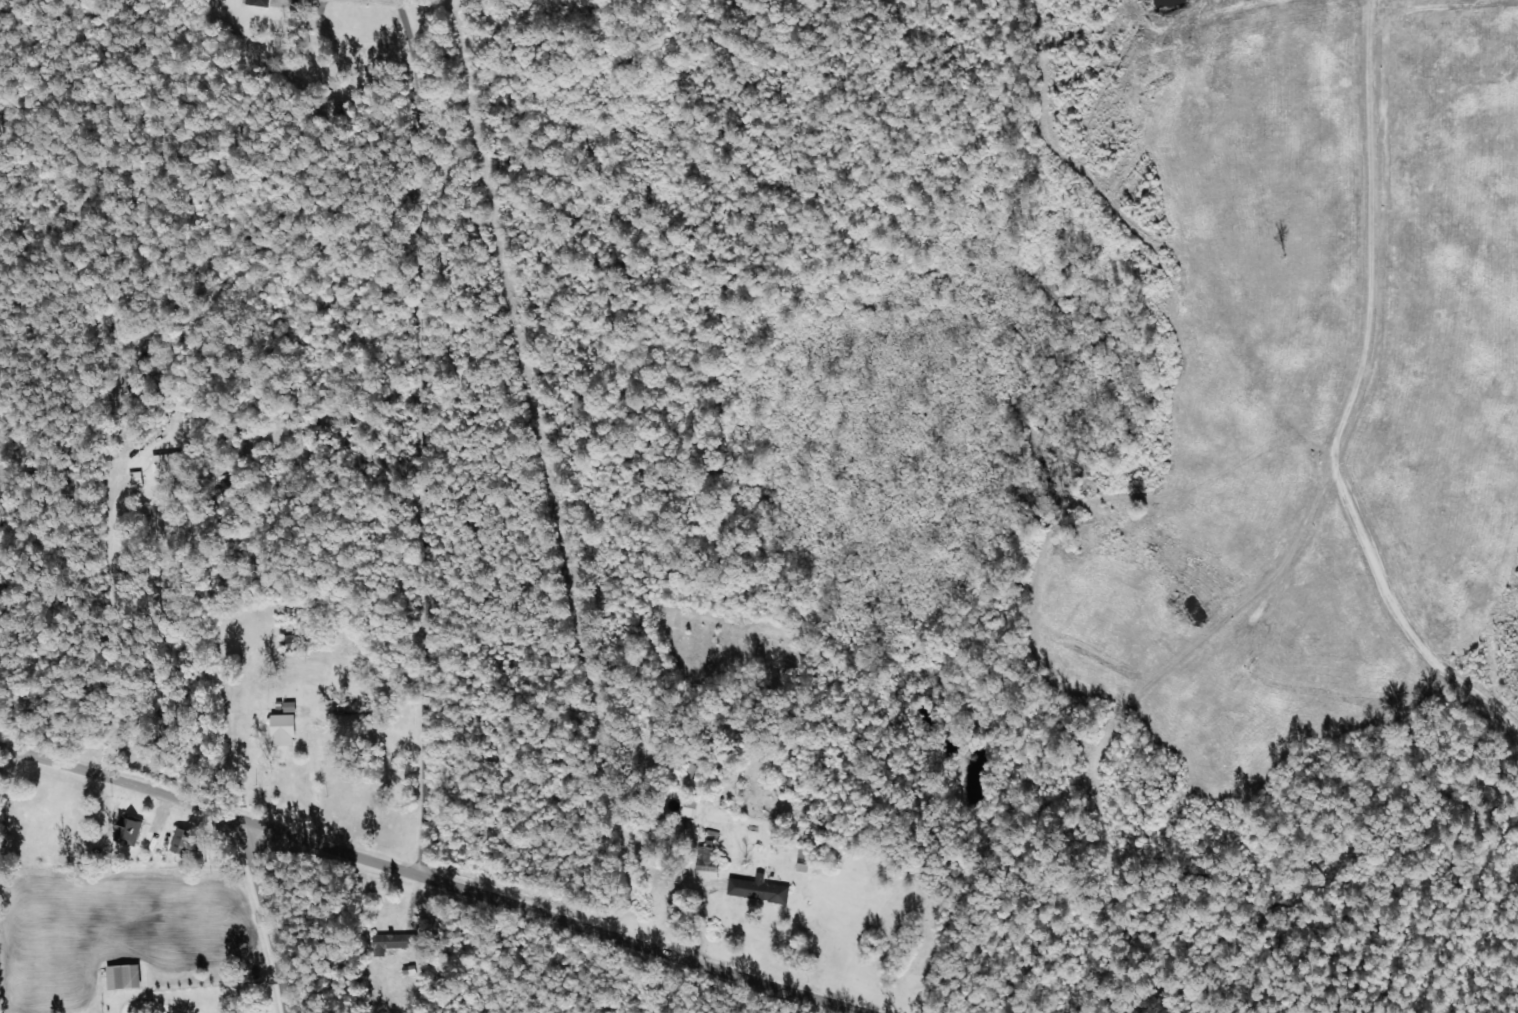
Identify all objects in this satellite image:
building: (257, 2)
road: (168, 214)
road: (154, 320)
road: (415, 437)
building: (164, 461)
building: (132, 478)
building: (282, 725)
building: (687, 769)
building: (688, 806)
building: (126, 829)
building: (180, 840)
building: (705, 856)
road: (428, 879)
building: (756, 888)
road: (253, 919)
building: (391, 942)
building: (121, 976)

